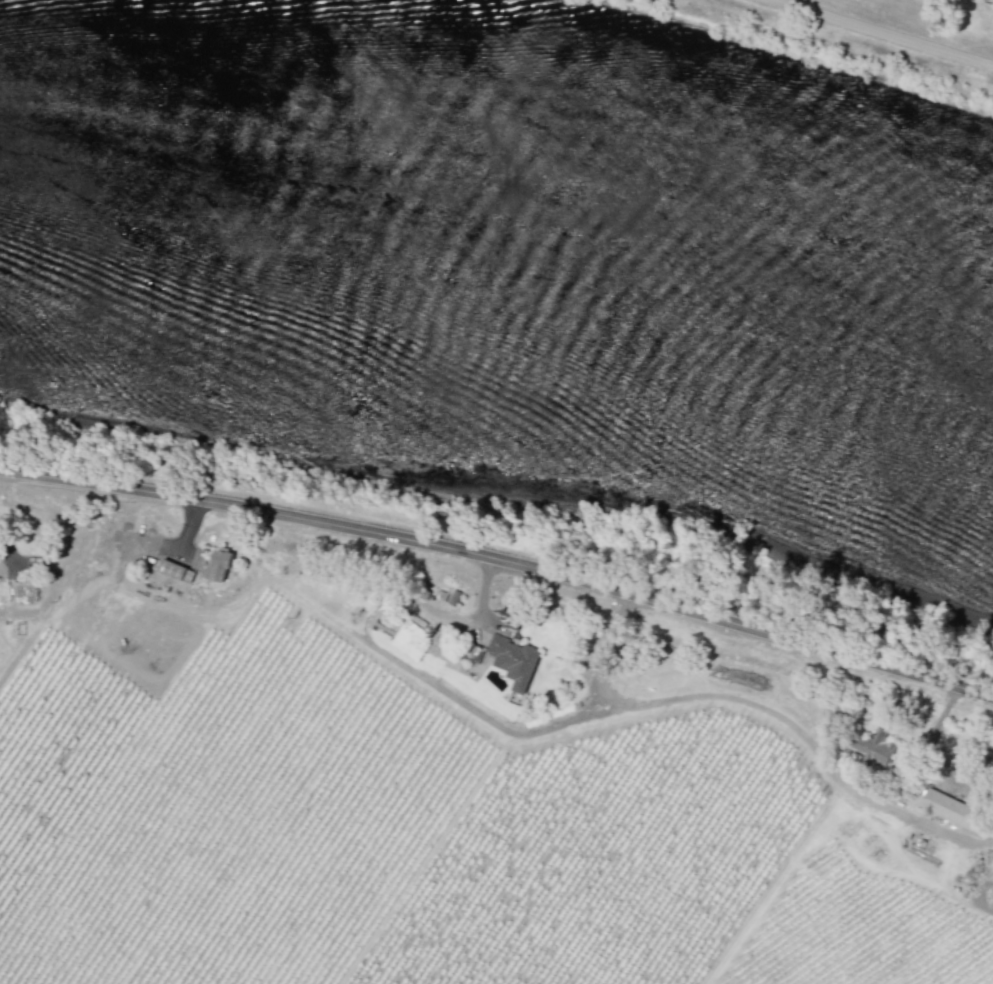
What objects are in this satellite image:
road: (886, 32)
road: (973, 44)
river: (501, 219)
road: (10, 554)
road: (501, 562)
building: (219, 564)
building: (172, 569)
building: (513, 660)
building: (875, 748)
building: (952, 810)

